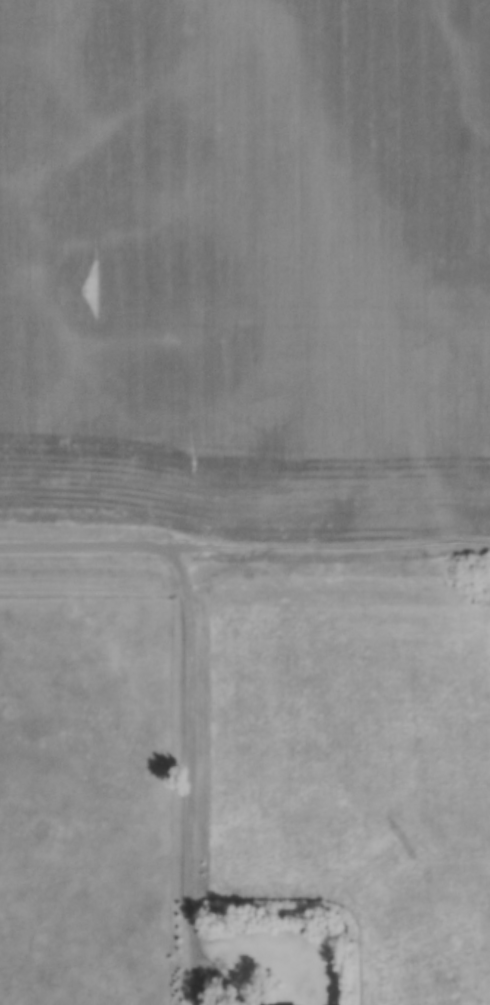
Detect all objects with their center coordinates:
road: (86, 546)
road: (330, 549)
road: (193, 770)
building: (244, 979)
building: (249, 1003)

